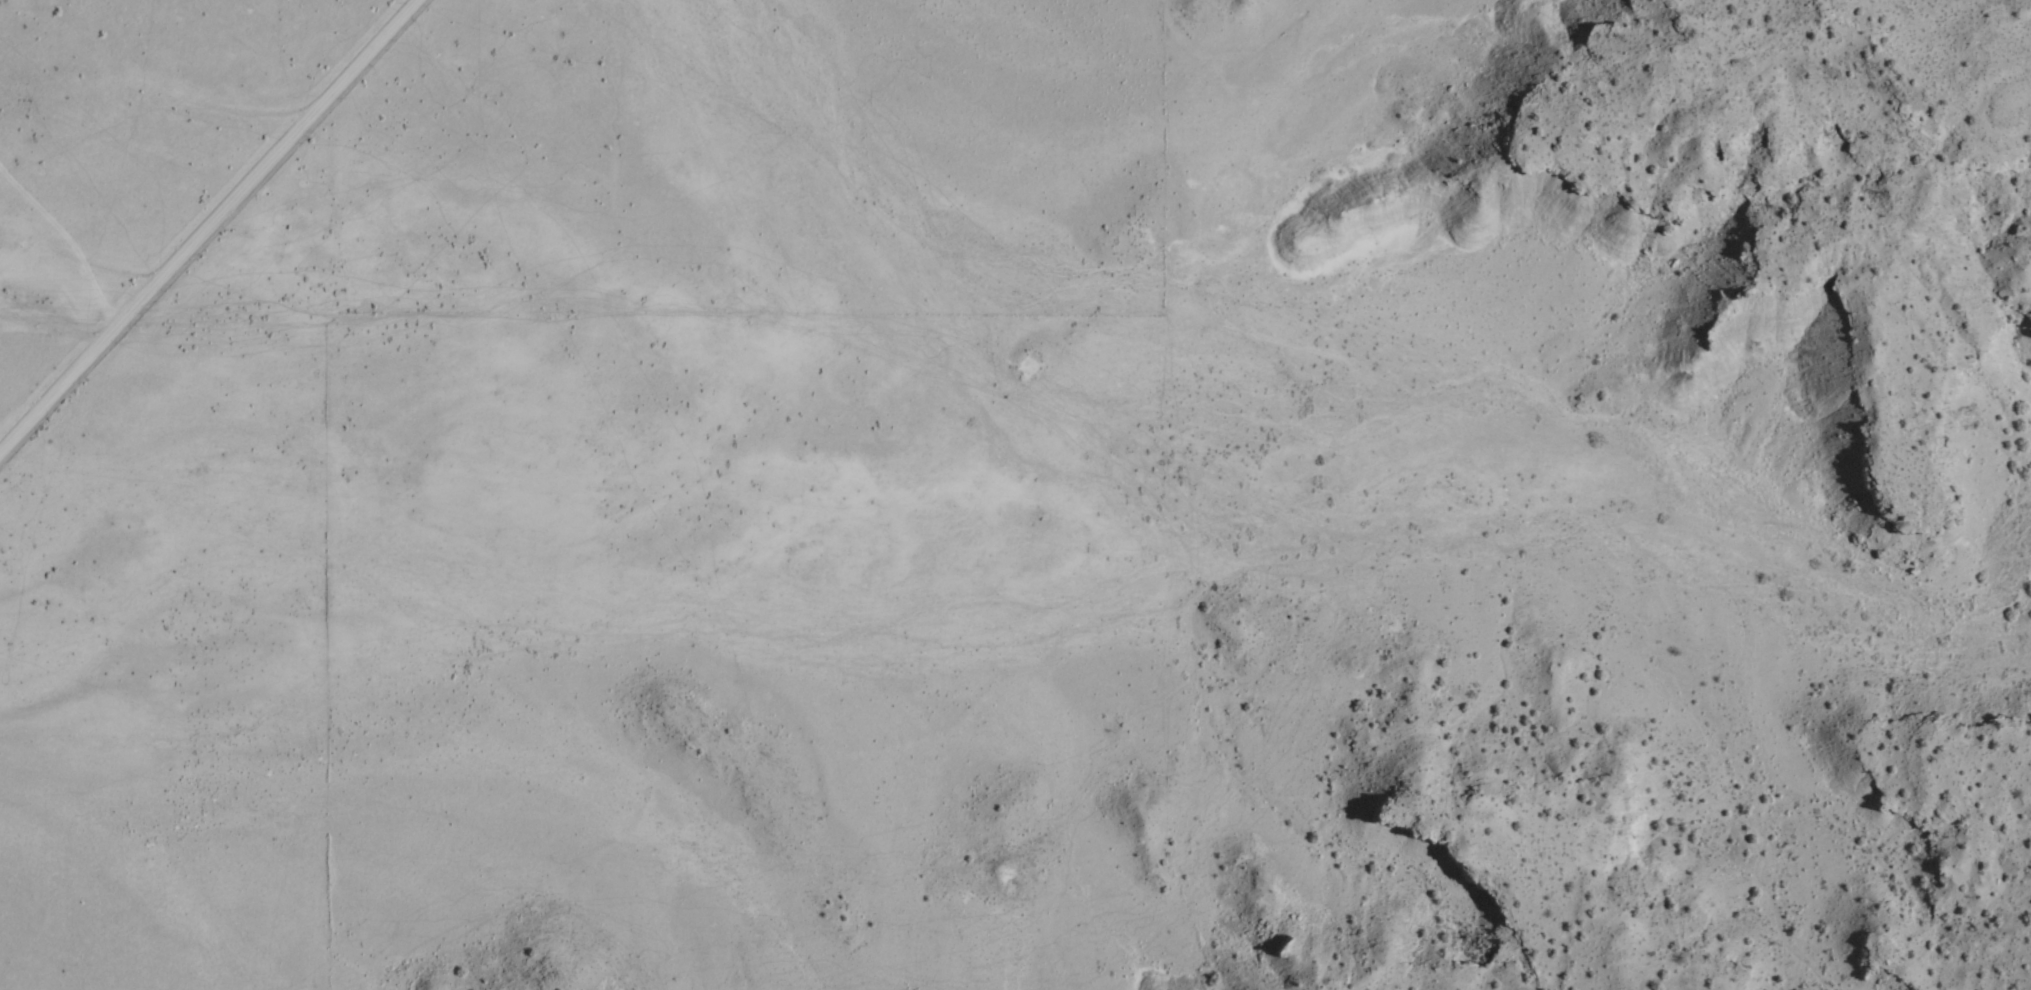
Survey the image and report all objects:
road: (206, 223)

